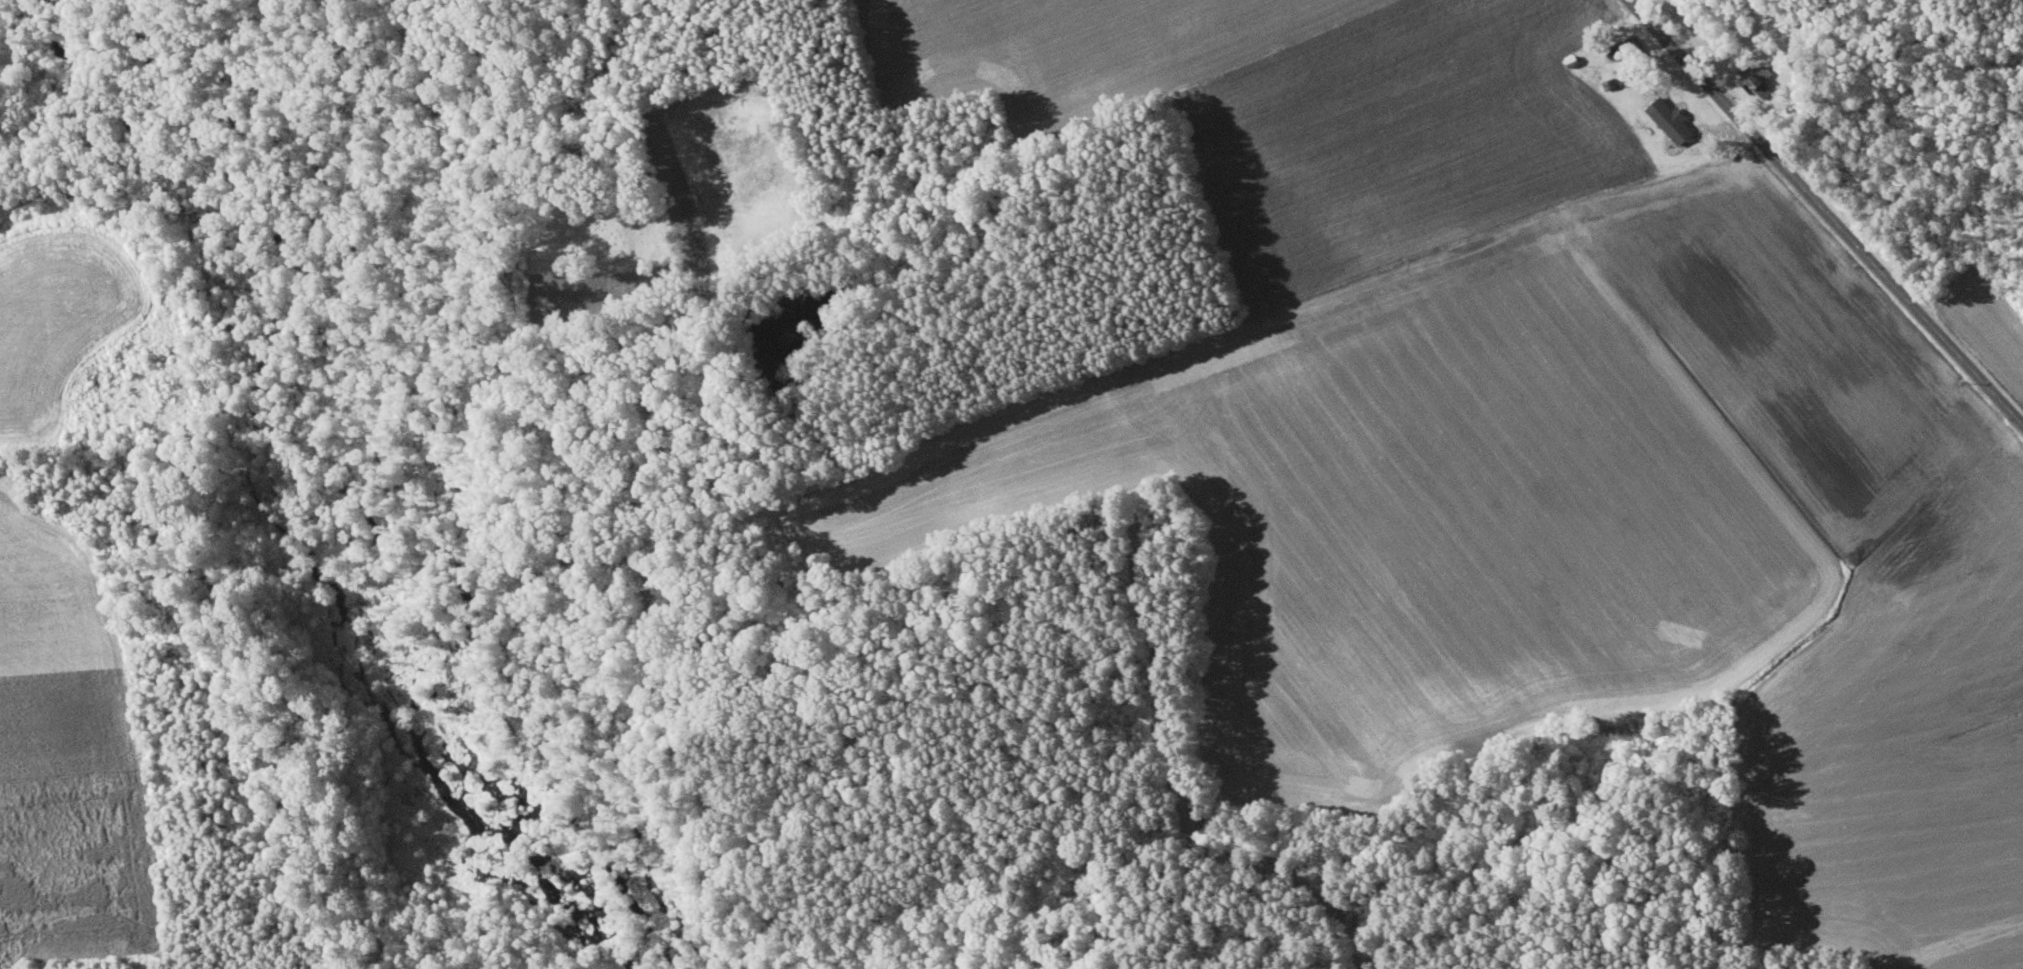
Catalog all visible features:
building: (1627, 48)
building: (1757, 80)
building: (1673, 119)
road: (1827, 206)

